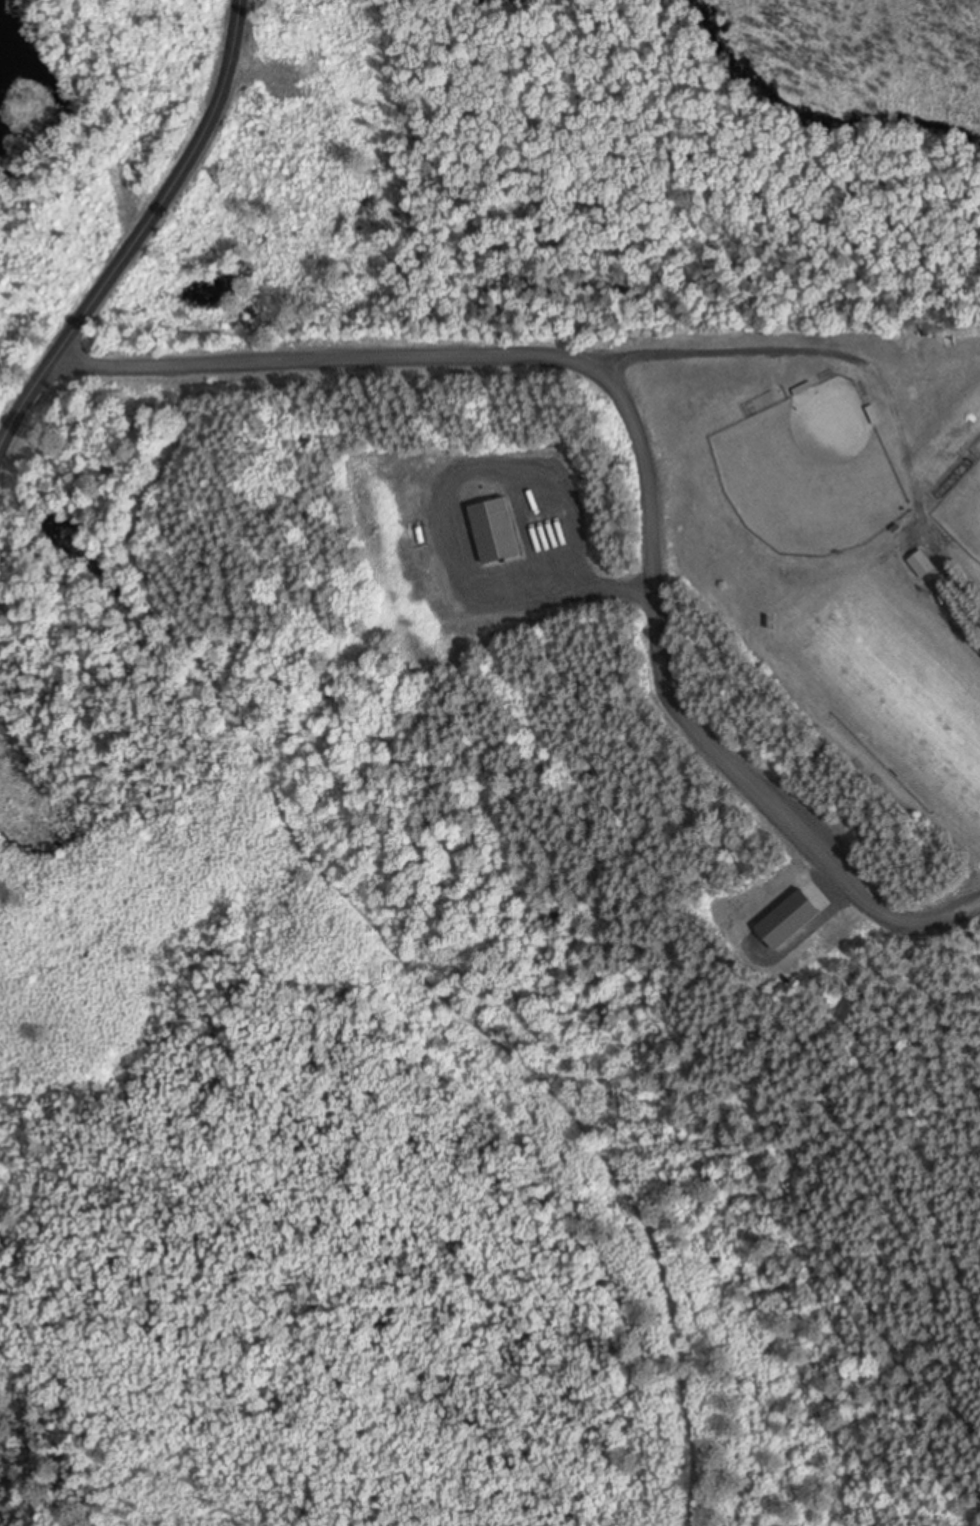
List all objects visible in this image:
road: (199, 150)
road: (50, 361)
road: (642, 457)
park: (810, 475)
park: (962, 514)
road: (444, 522)
building: (495, 536)
park: (893, 688)

